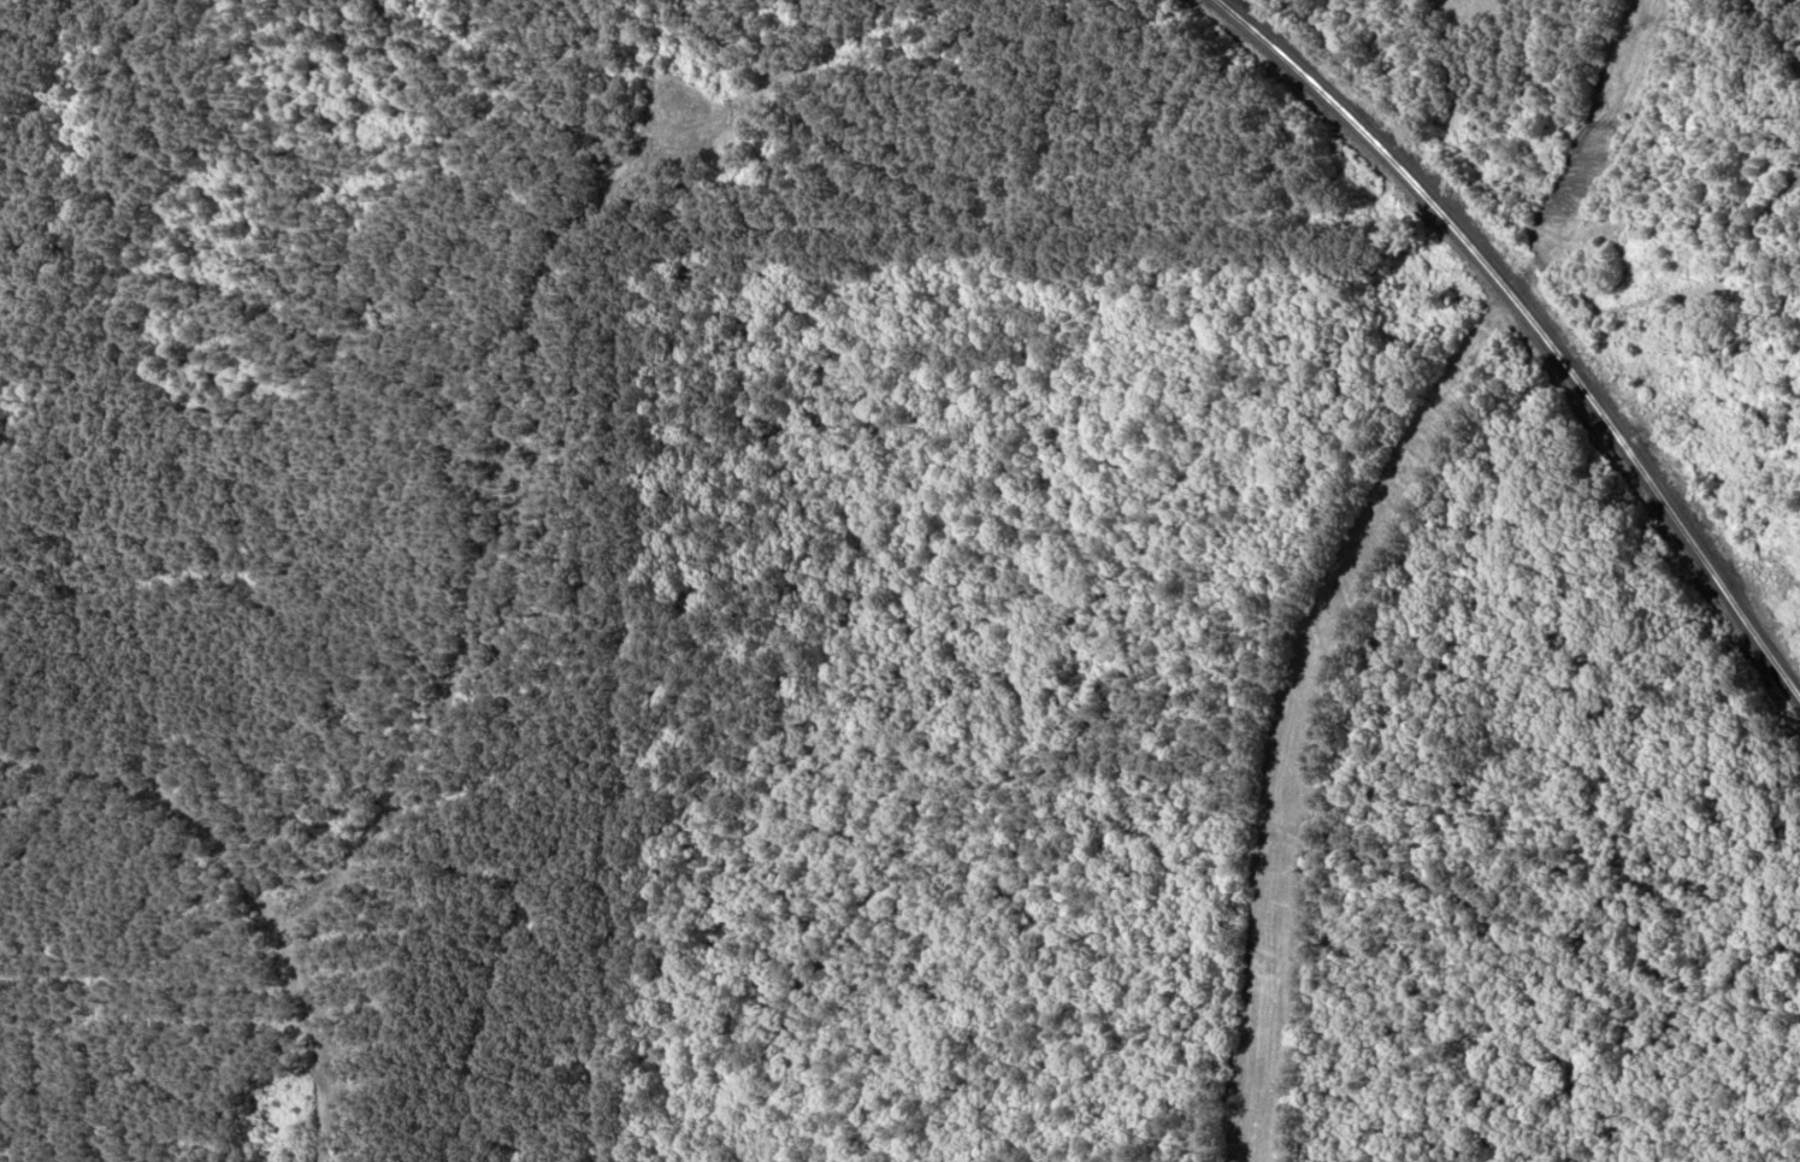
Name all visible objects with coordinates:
railway: (1538, 324)

